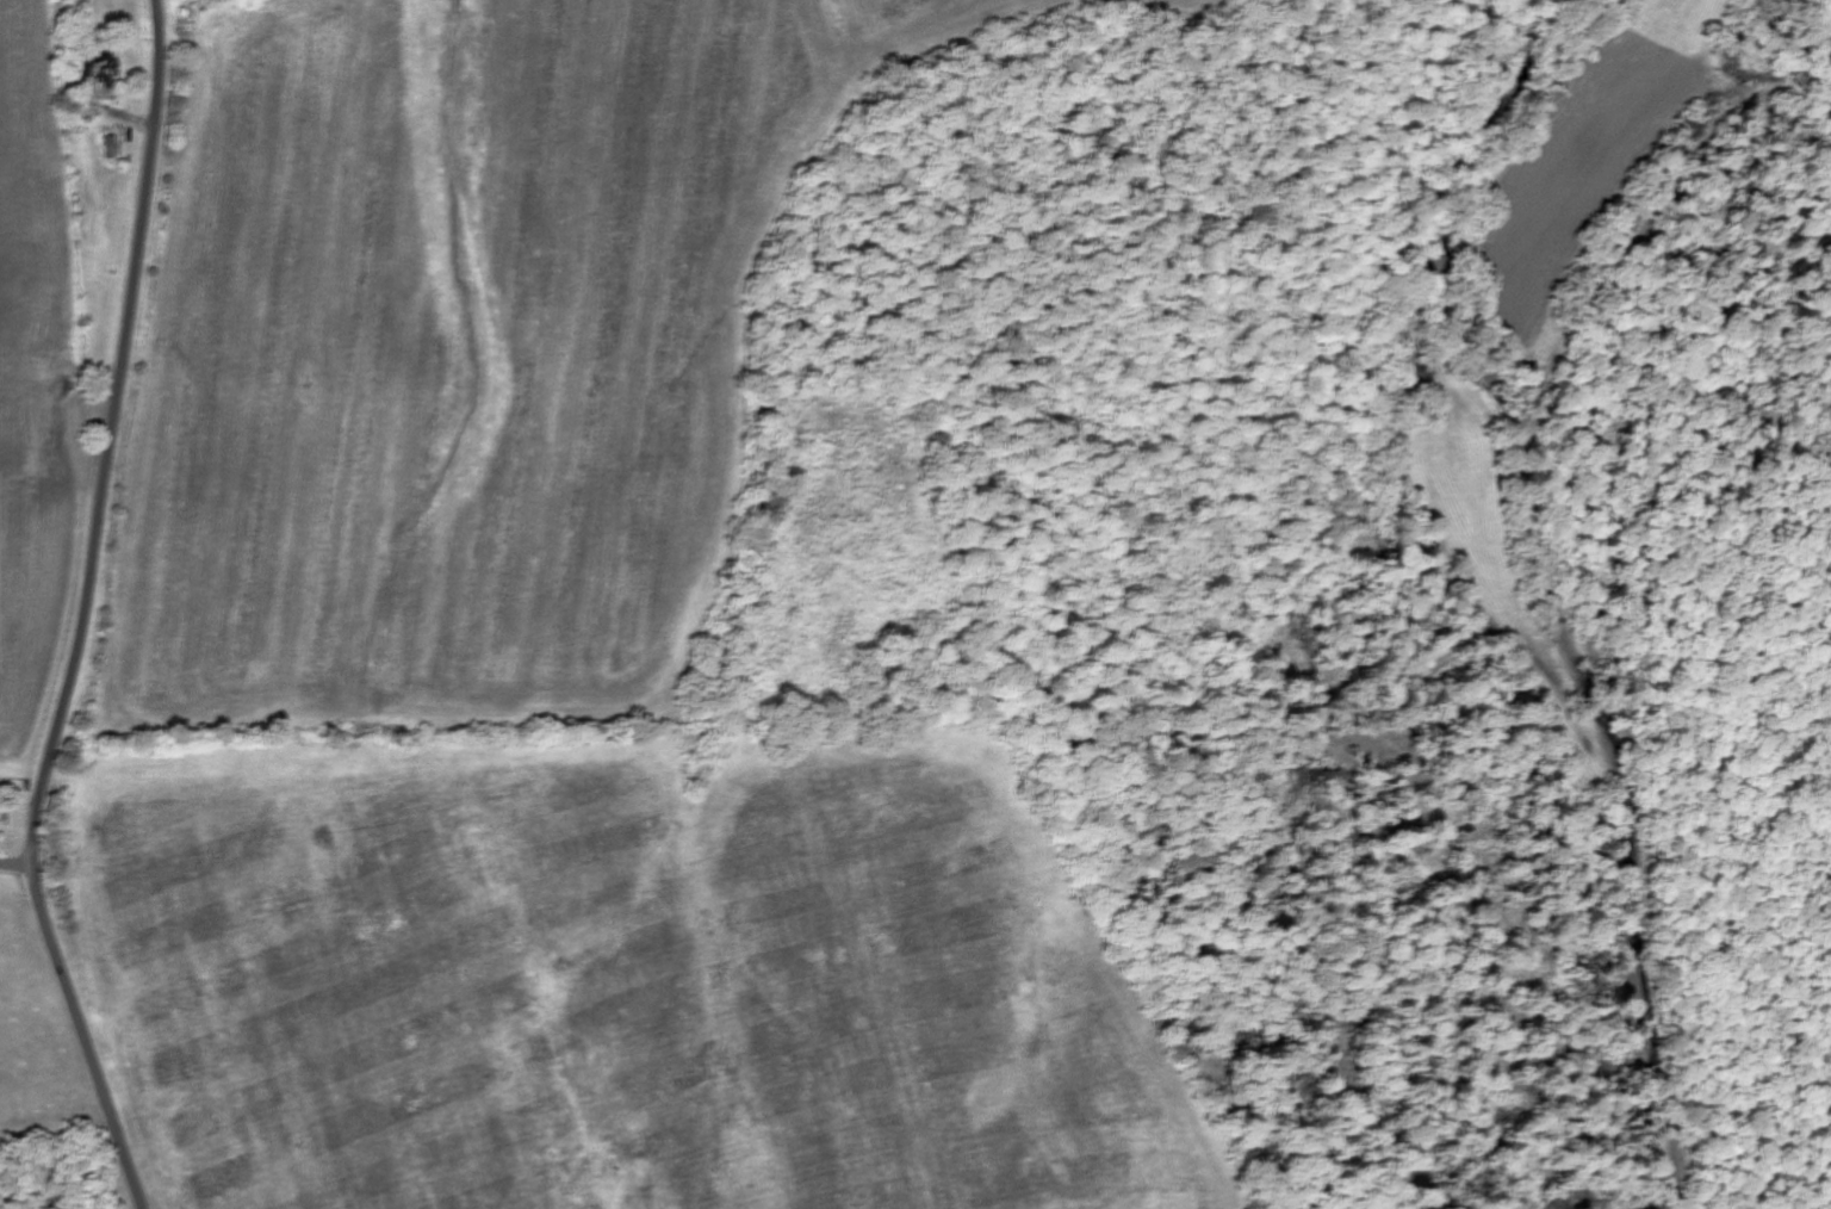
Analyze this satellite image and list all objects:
building: (99, 73)
road: (85, 613)
road: (1646, 713)

